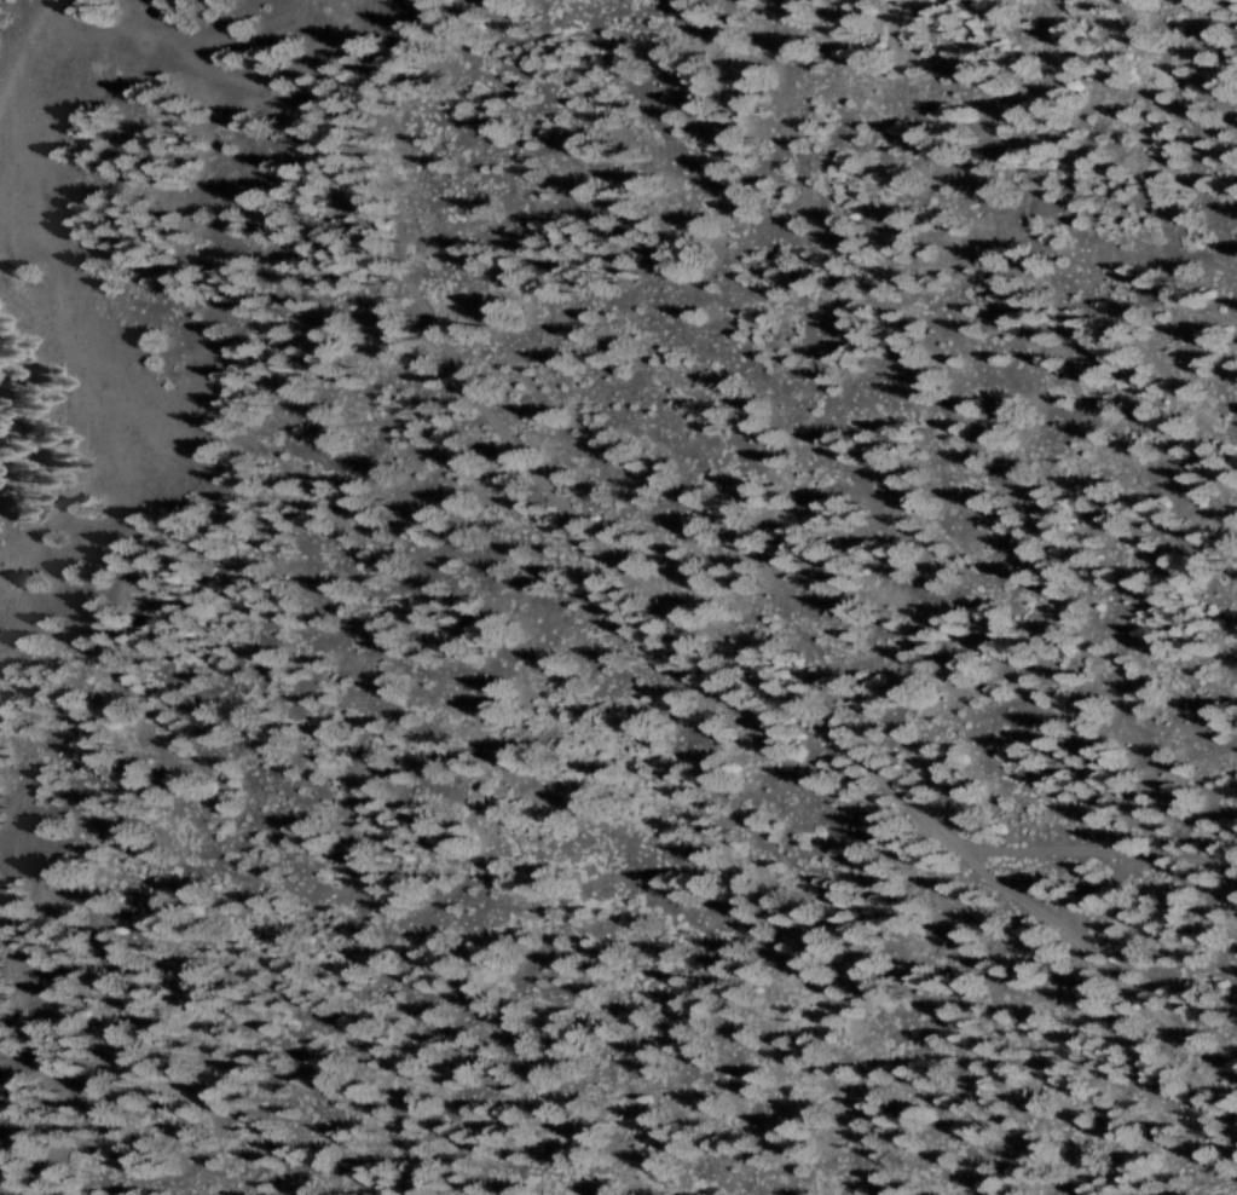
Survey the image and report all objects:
road: (676, 593)

